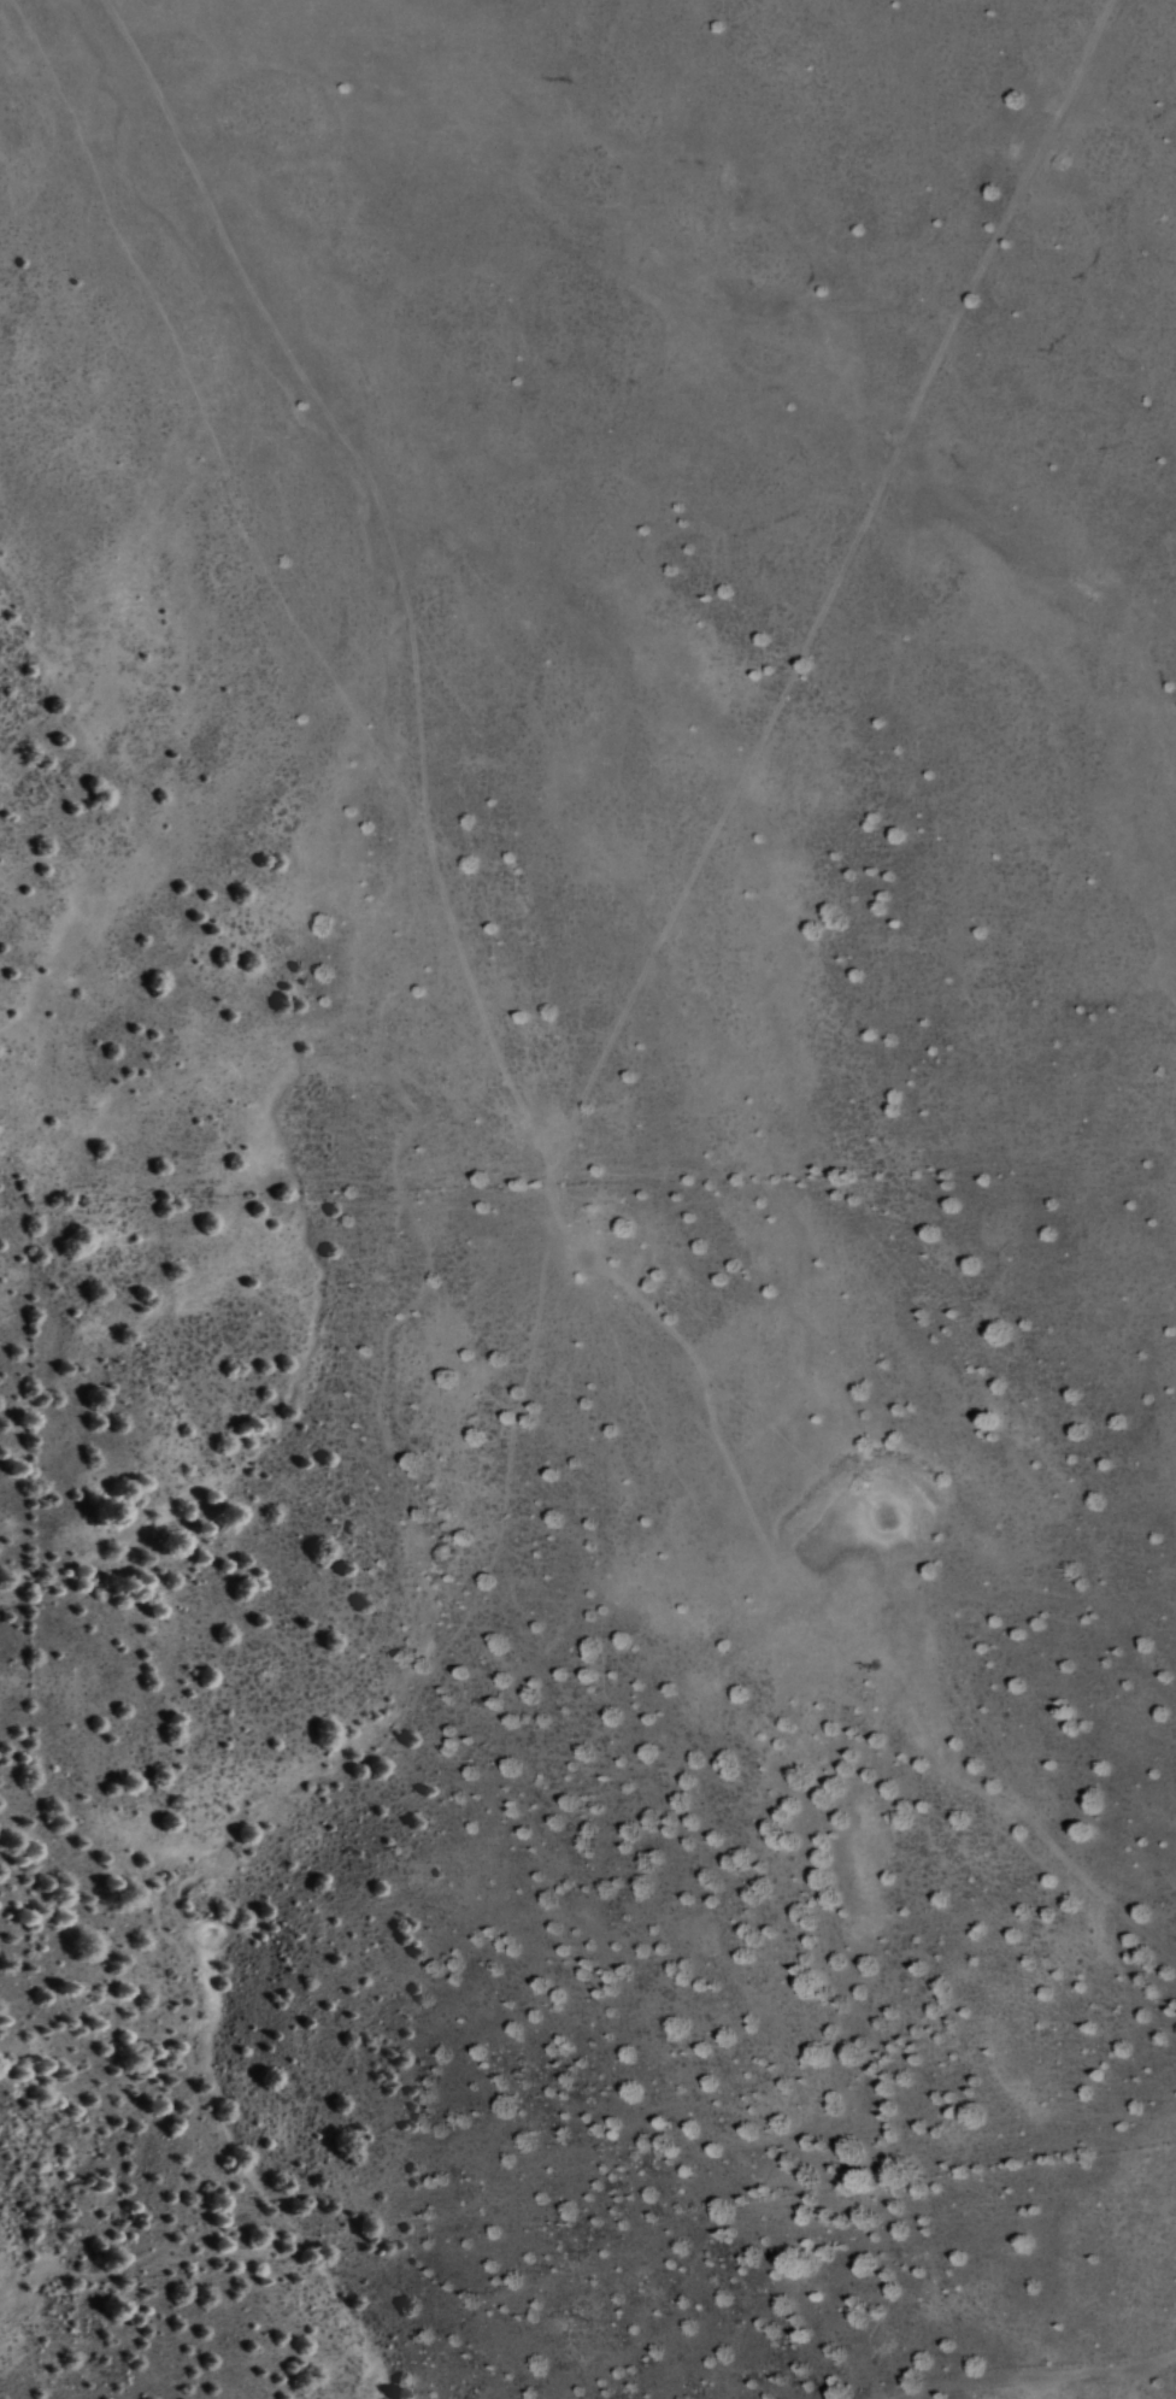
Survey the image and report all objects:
road: (836, 582)
road: (1030, 2369)

